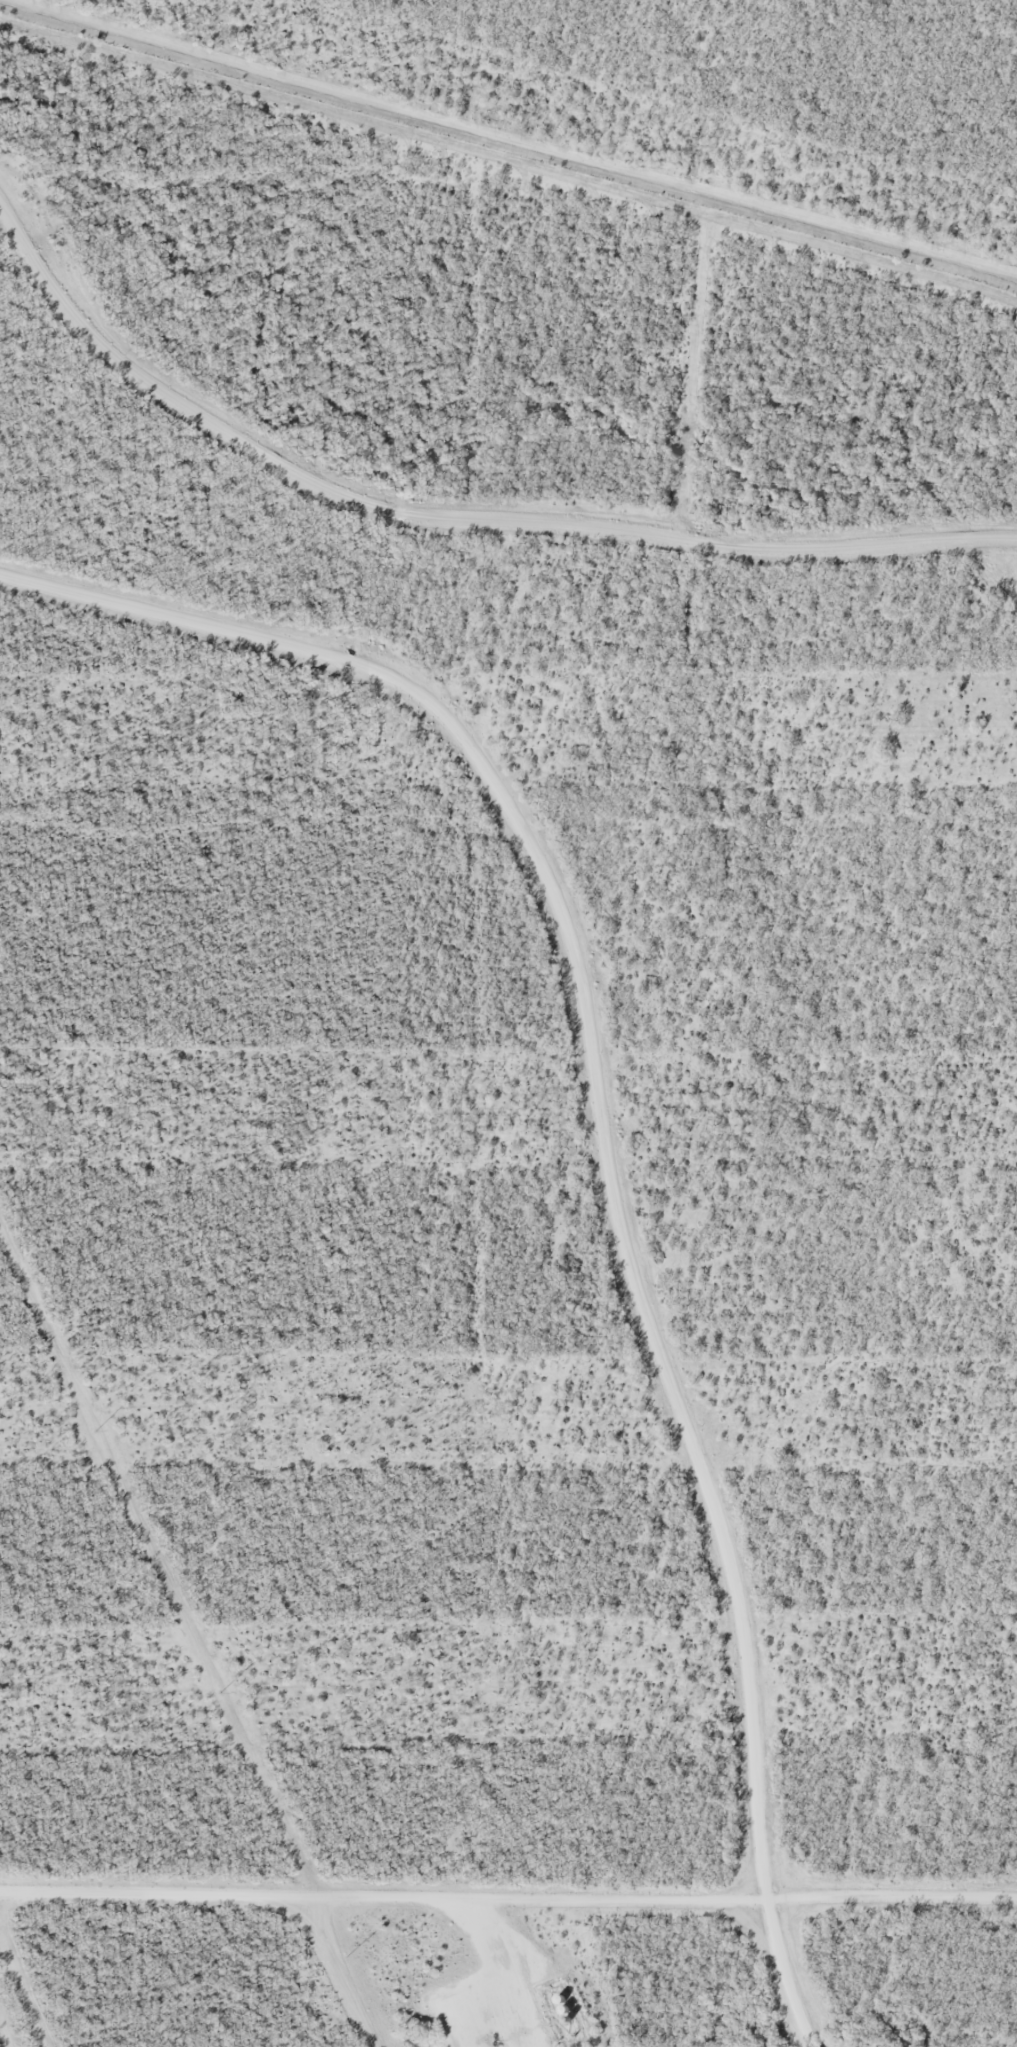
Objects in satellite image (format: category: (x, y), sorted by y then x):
road: (605, 1140)
power tower: (93, 1427)
power tower: (221, 1693)
power tower: (345, 1956)

